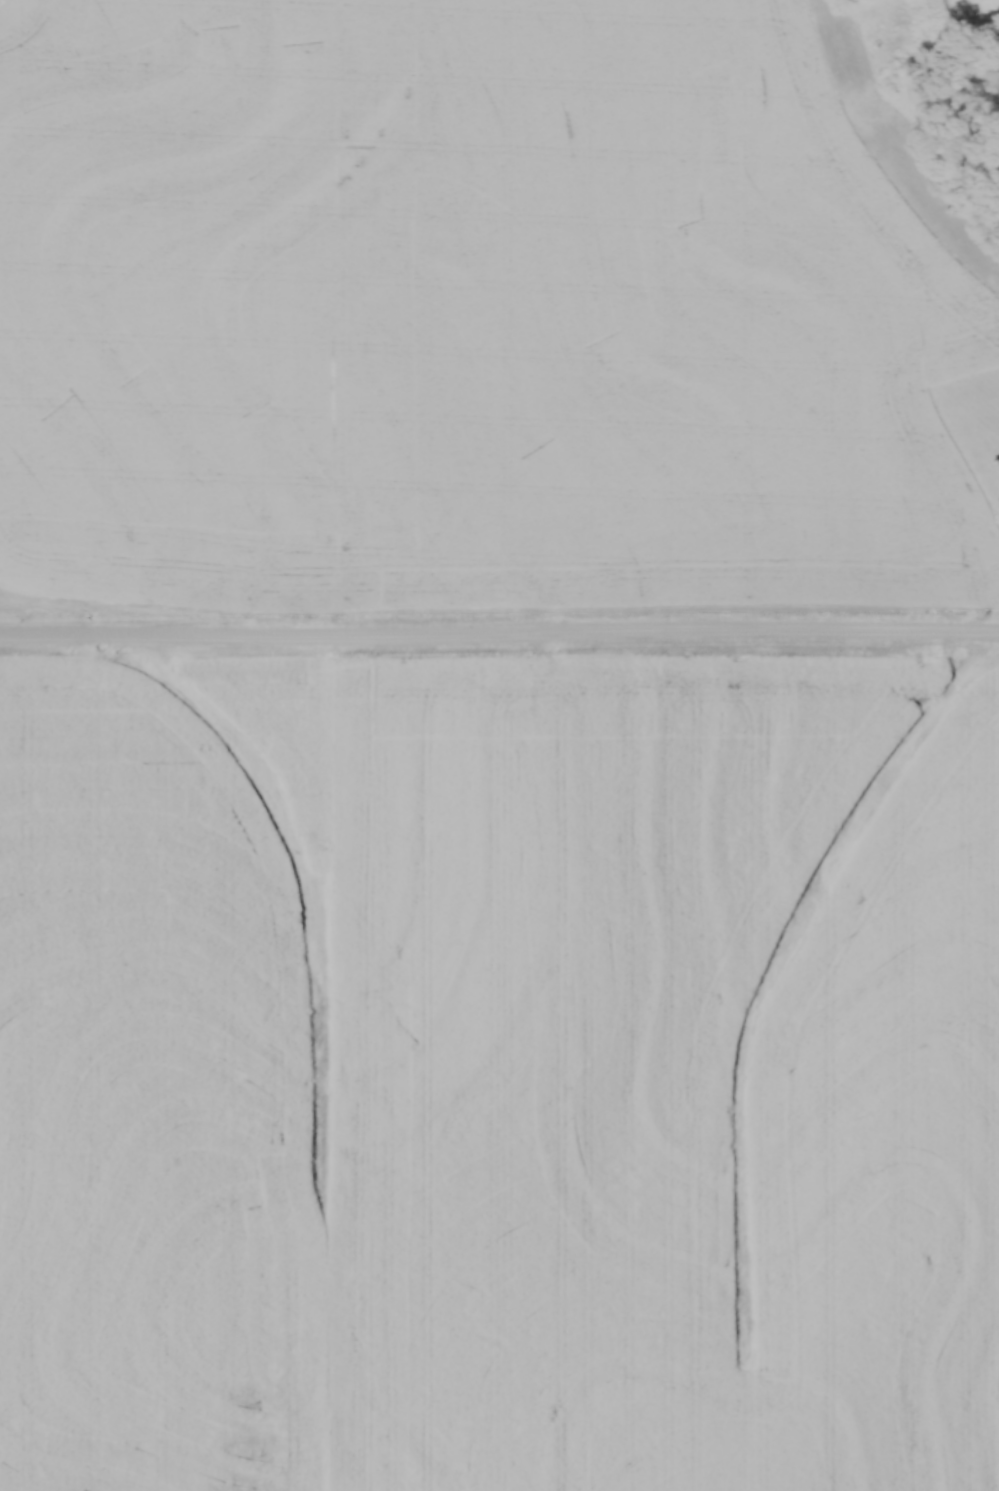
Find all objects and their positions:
road: (499, 635)

